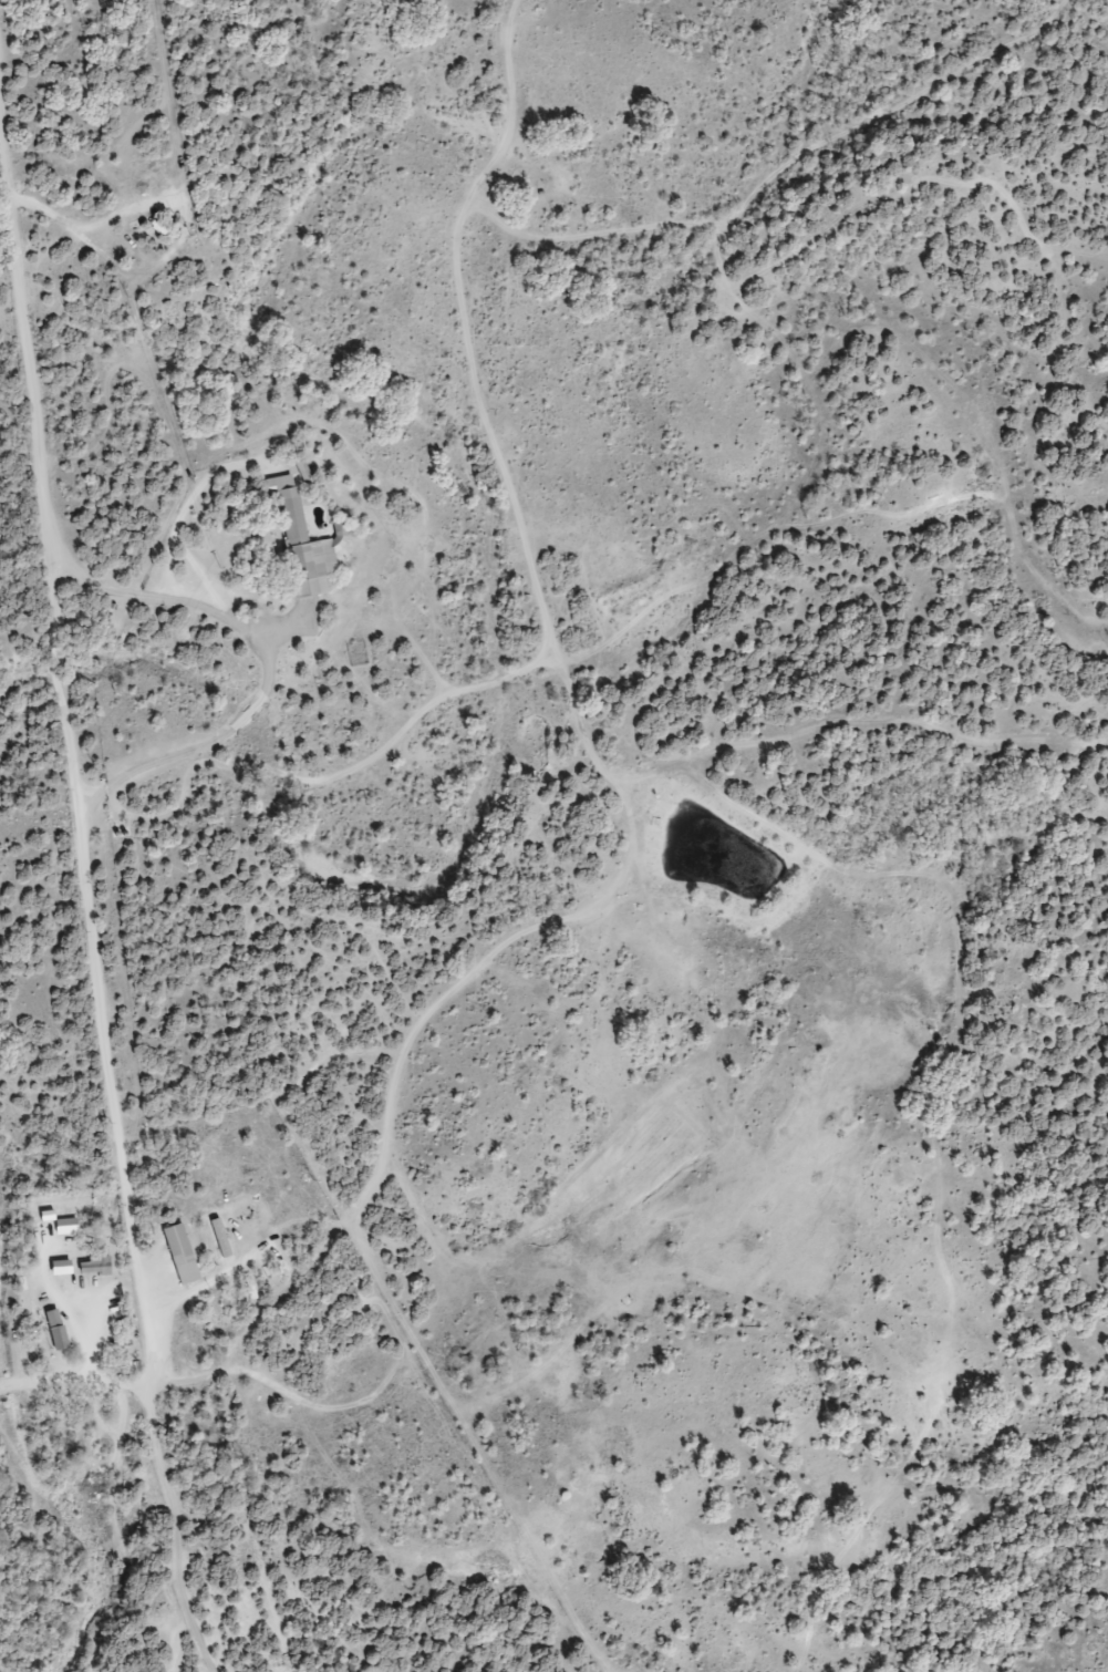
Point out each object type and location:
building: (302, 540)
road: (79, 822)
building: (251, 1131)
building: (287, 1163)
building: (226, 1179)
building: (315, 1200)
building: (215, 1240)
building: (178, 1255)
building: (259, 1259)

